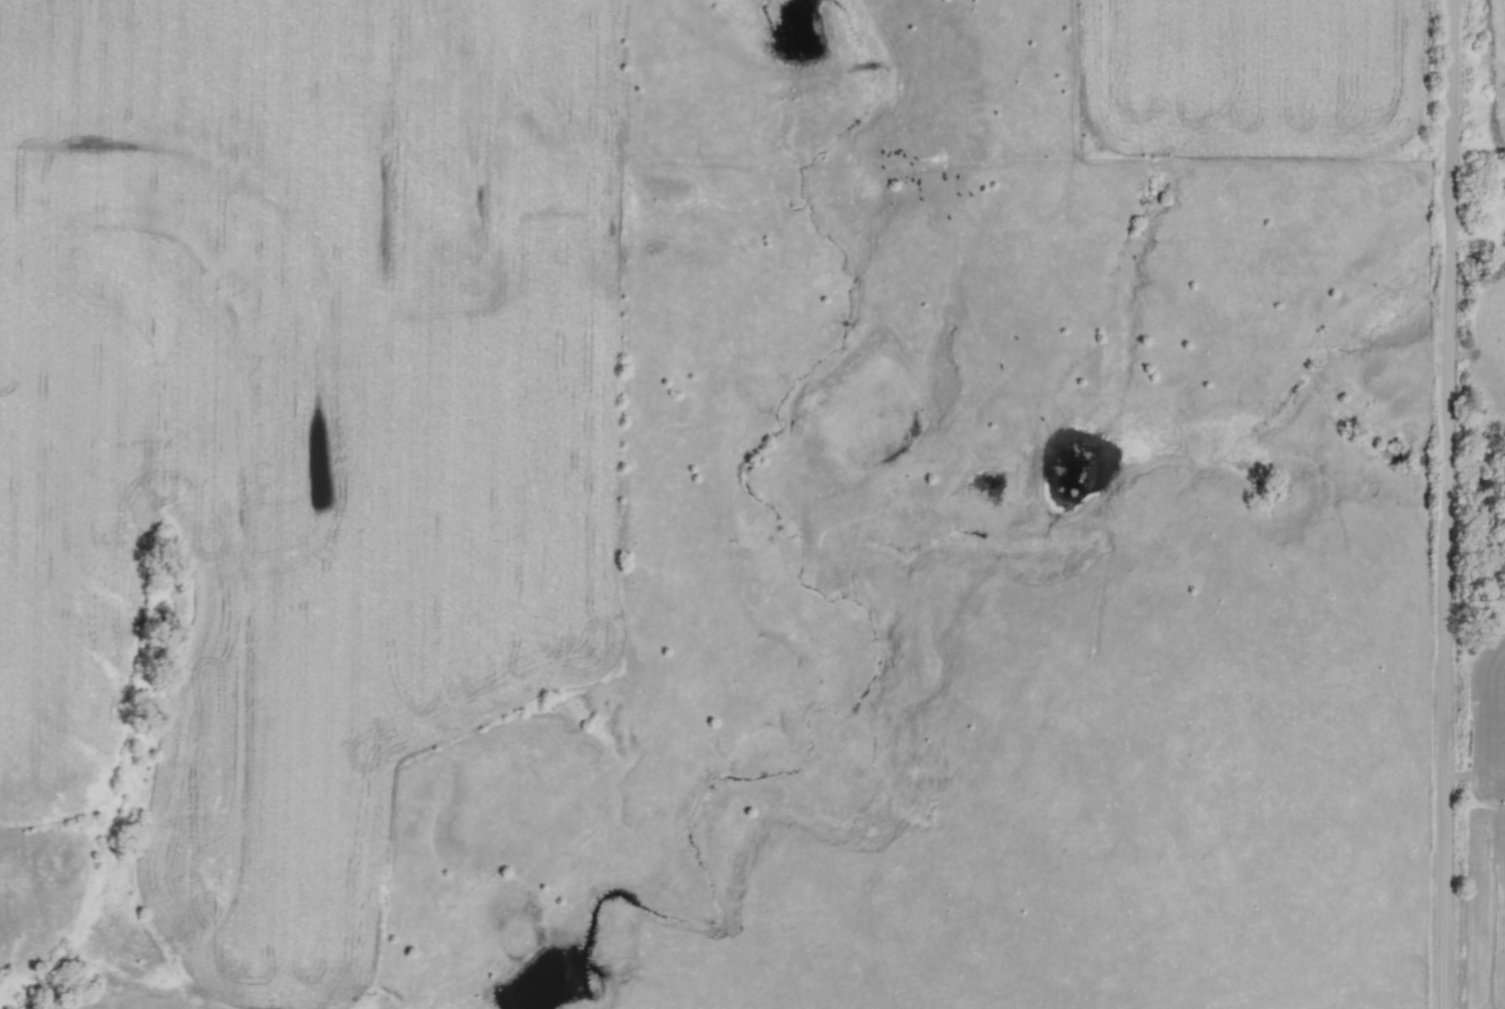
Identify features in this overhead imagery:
road: (1450, 504)

